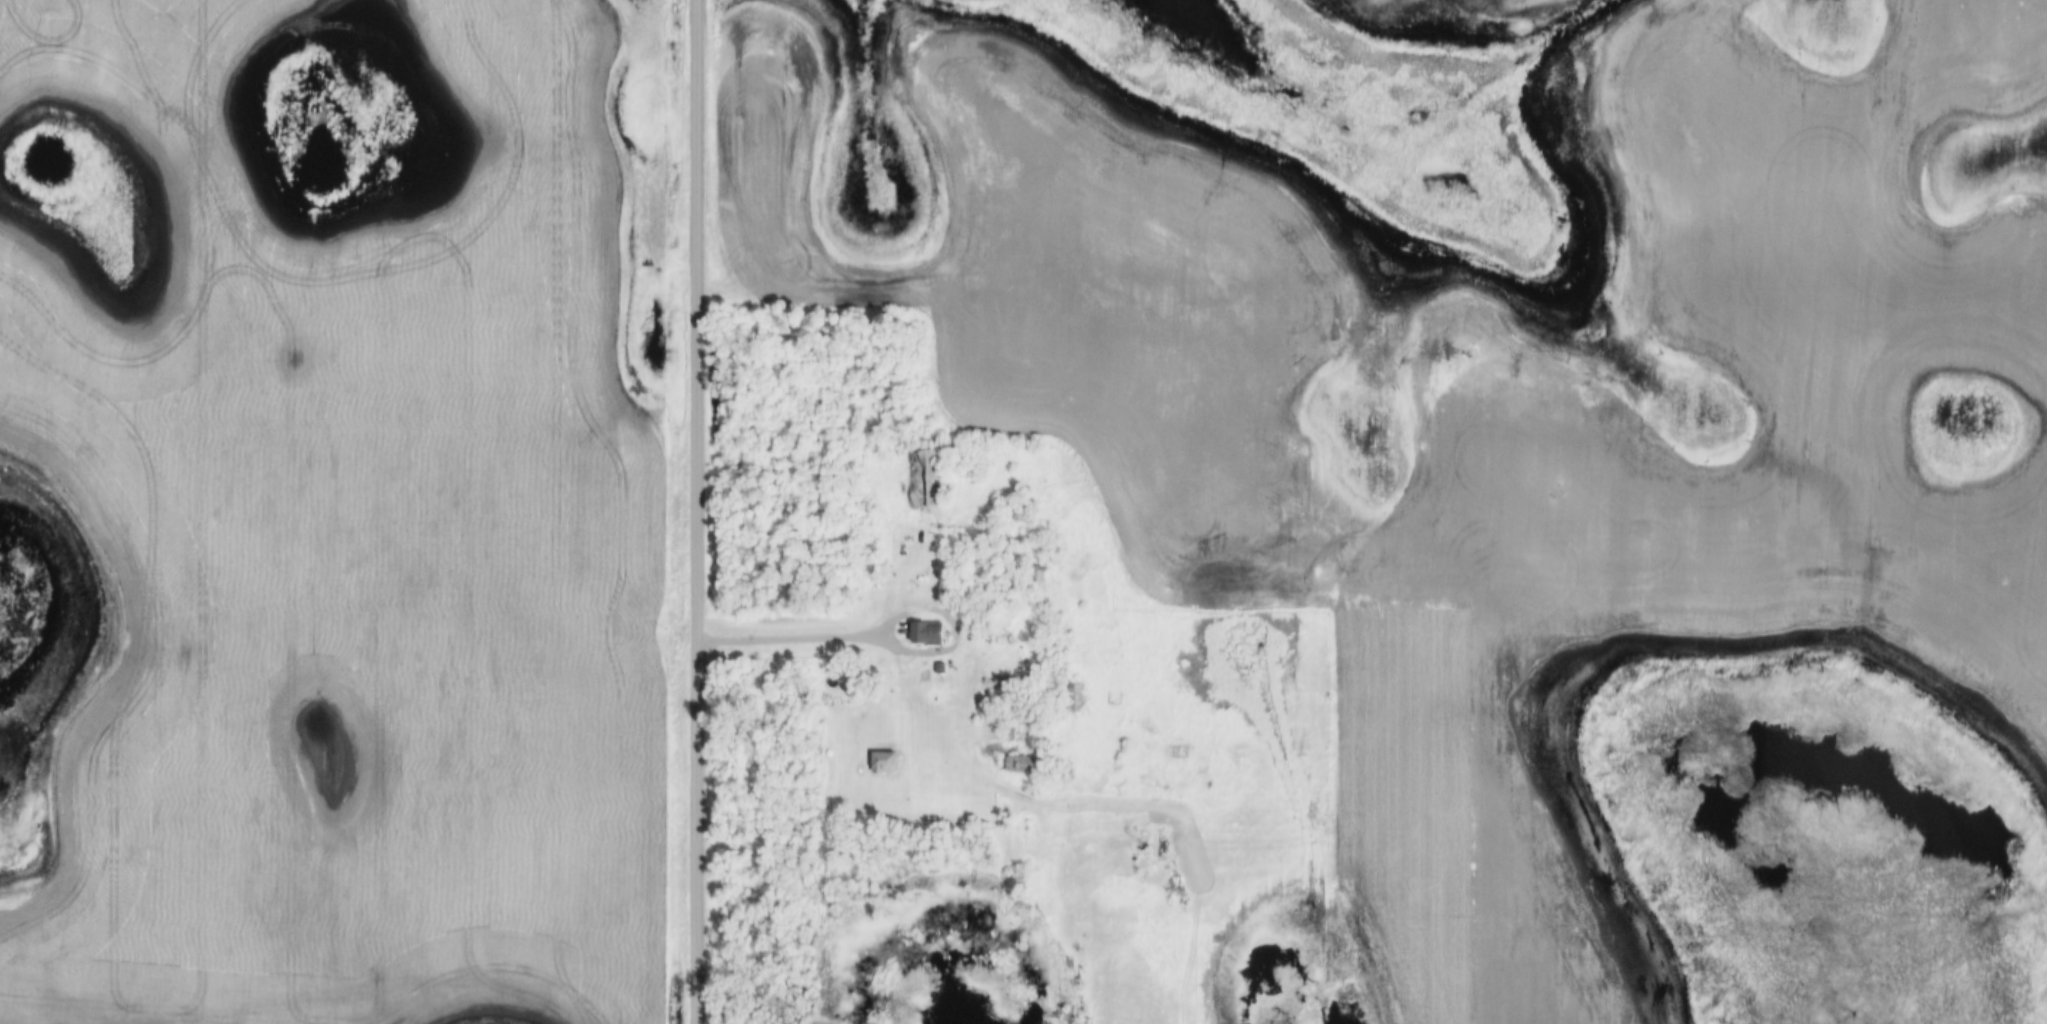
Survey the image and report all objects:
road: (695, 512)
road: (879, 625)
building: (928, 632)
building: (884, 761)

